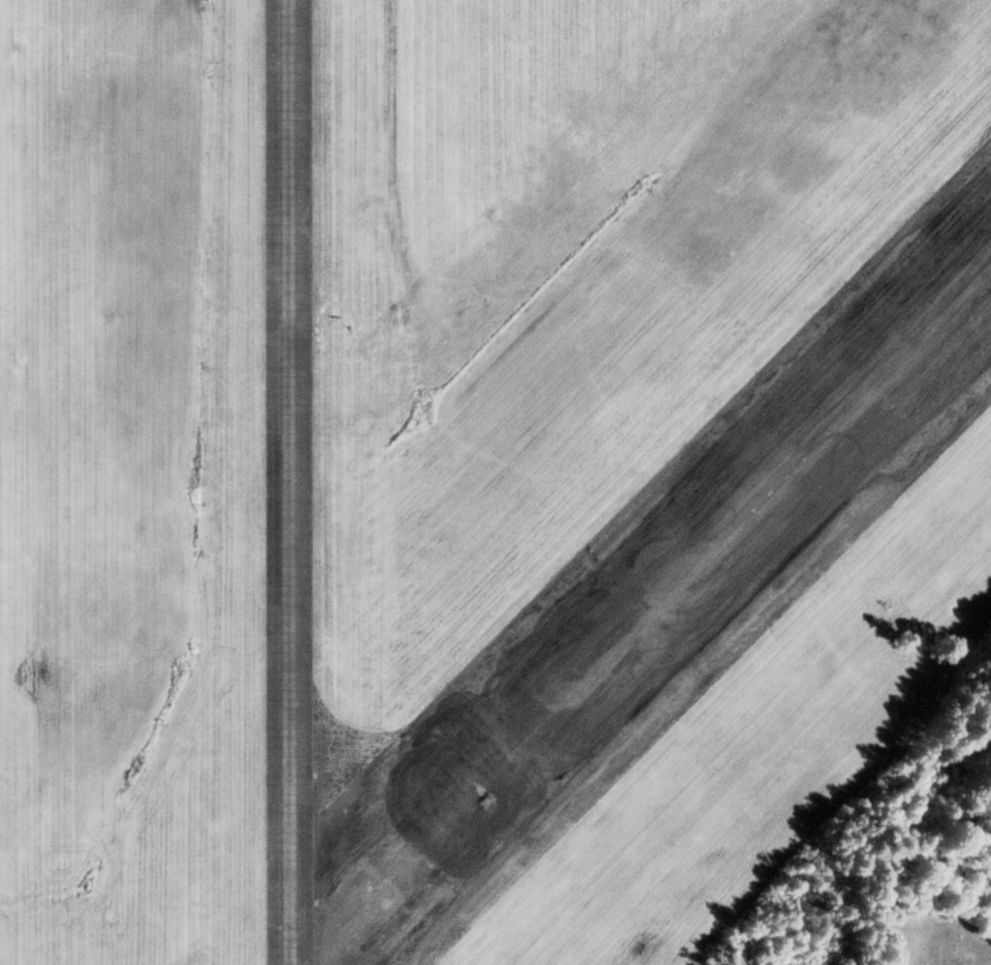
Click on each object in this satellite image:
airport: (469, 465)
airport taxiway: (288, 482)

